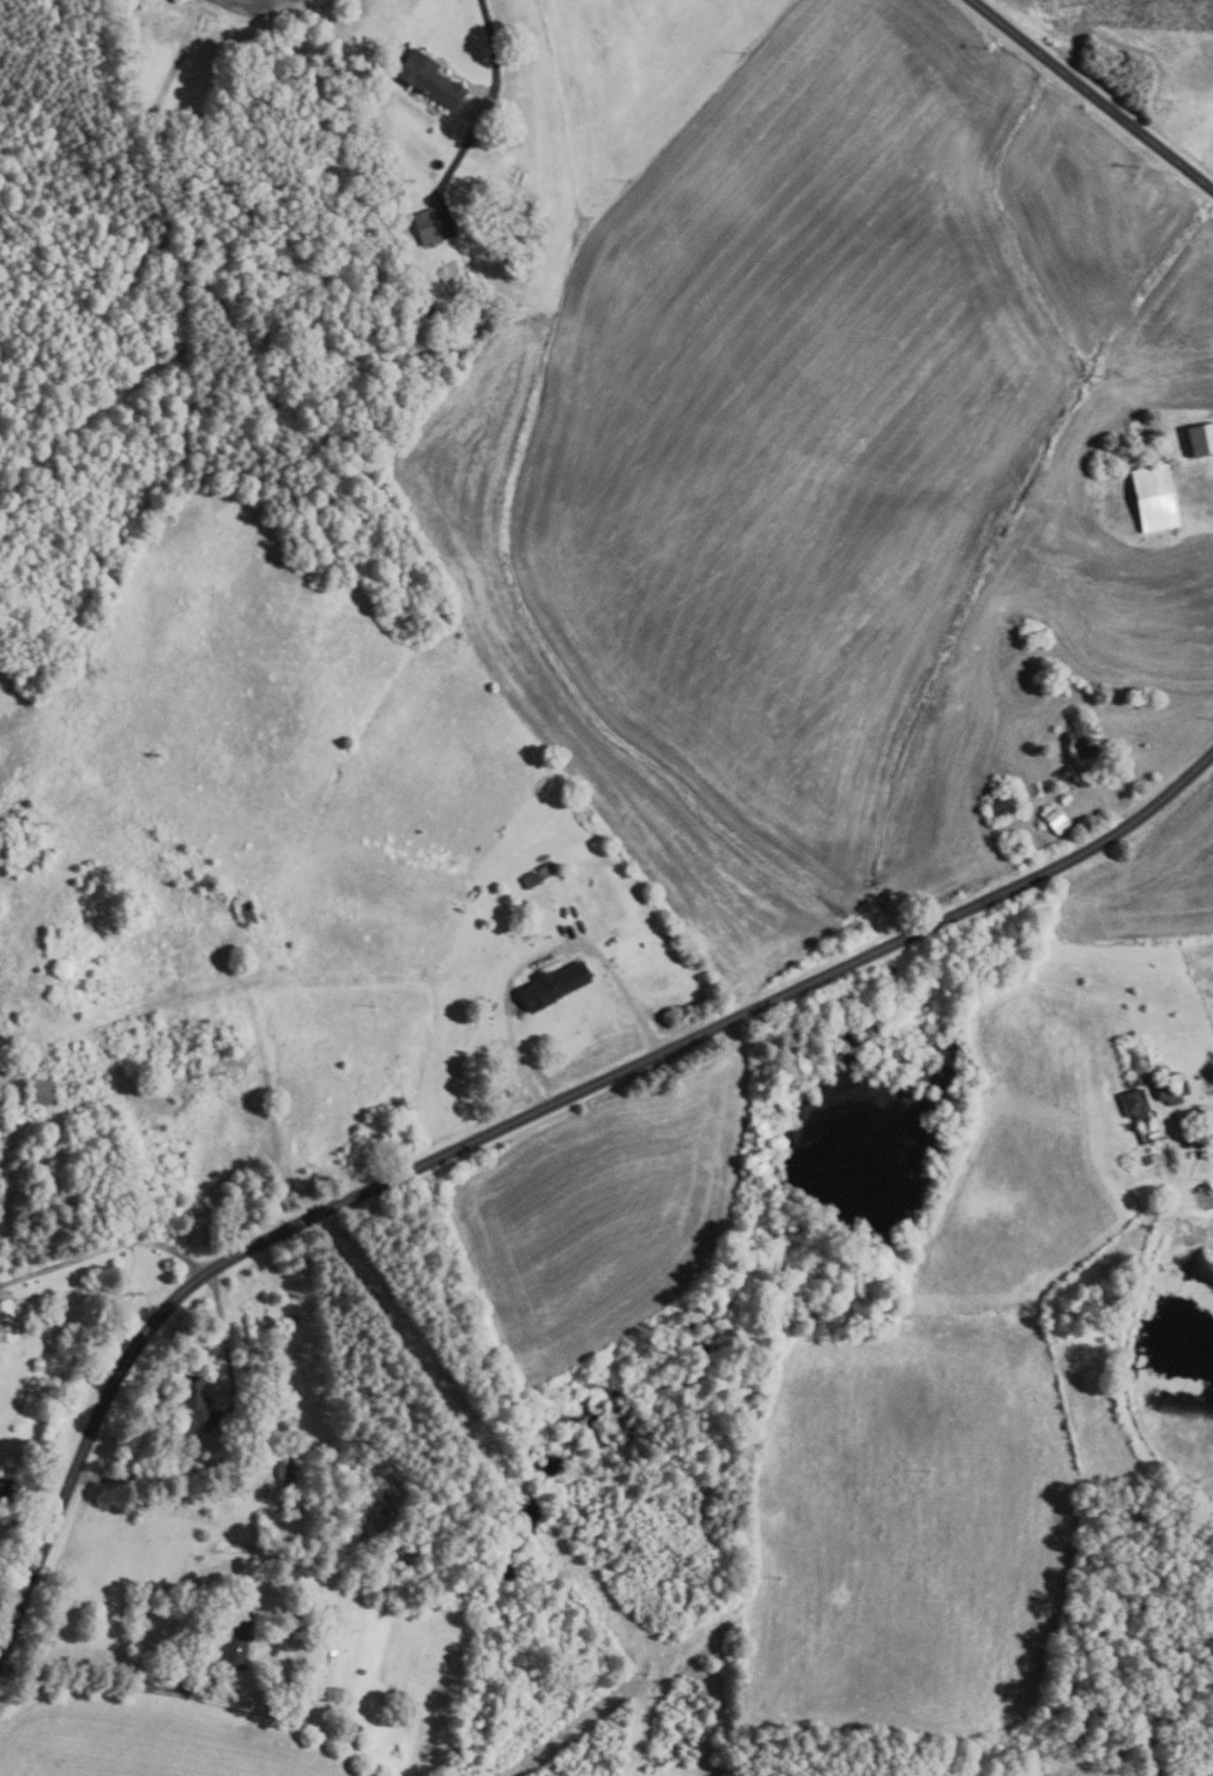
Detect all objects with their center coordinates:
road: (496, 65)
building: (428, 79)
road: (1091, 95)
building: (424, 227)
building: (1199, 439)
road: (1201, 489)
building: (1151, 498)
road: (1167, 714)
building: (1082, 740)
building: (1062, 799)
building: (998, 803)
building: (1051, 819)
building: (536, 874)
building: (245, 913)
road: (539, 955)
building: (551, 983)
building: (1134, 1061)
building: (38, 1091)
building: (1171, 1091)
building: (1133, 1103)
road: (517, 1116)
building: (1196, 1120)
building: (1201, 1137)
building: (1147, 1157)
building: (1203, 1186)
crop: (604, 1210)
road: (103, 1248)
building: (5, 1322)
building: (198, 1402)
road: (230, 1440)
building: (285, 1467)
building: (288, 1504)
building: (331, 1612)
building: (233, 1639)
building: (331, 1651)
road: (198, 1657)
building: (360, 1670)
road: (98, 1681)
building: (328, 1693)
road: (301, 1723)
building: (350, 1726)

